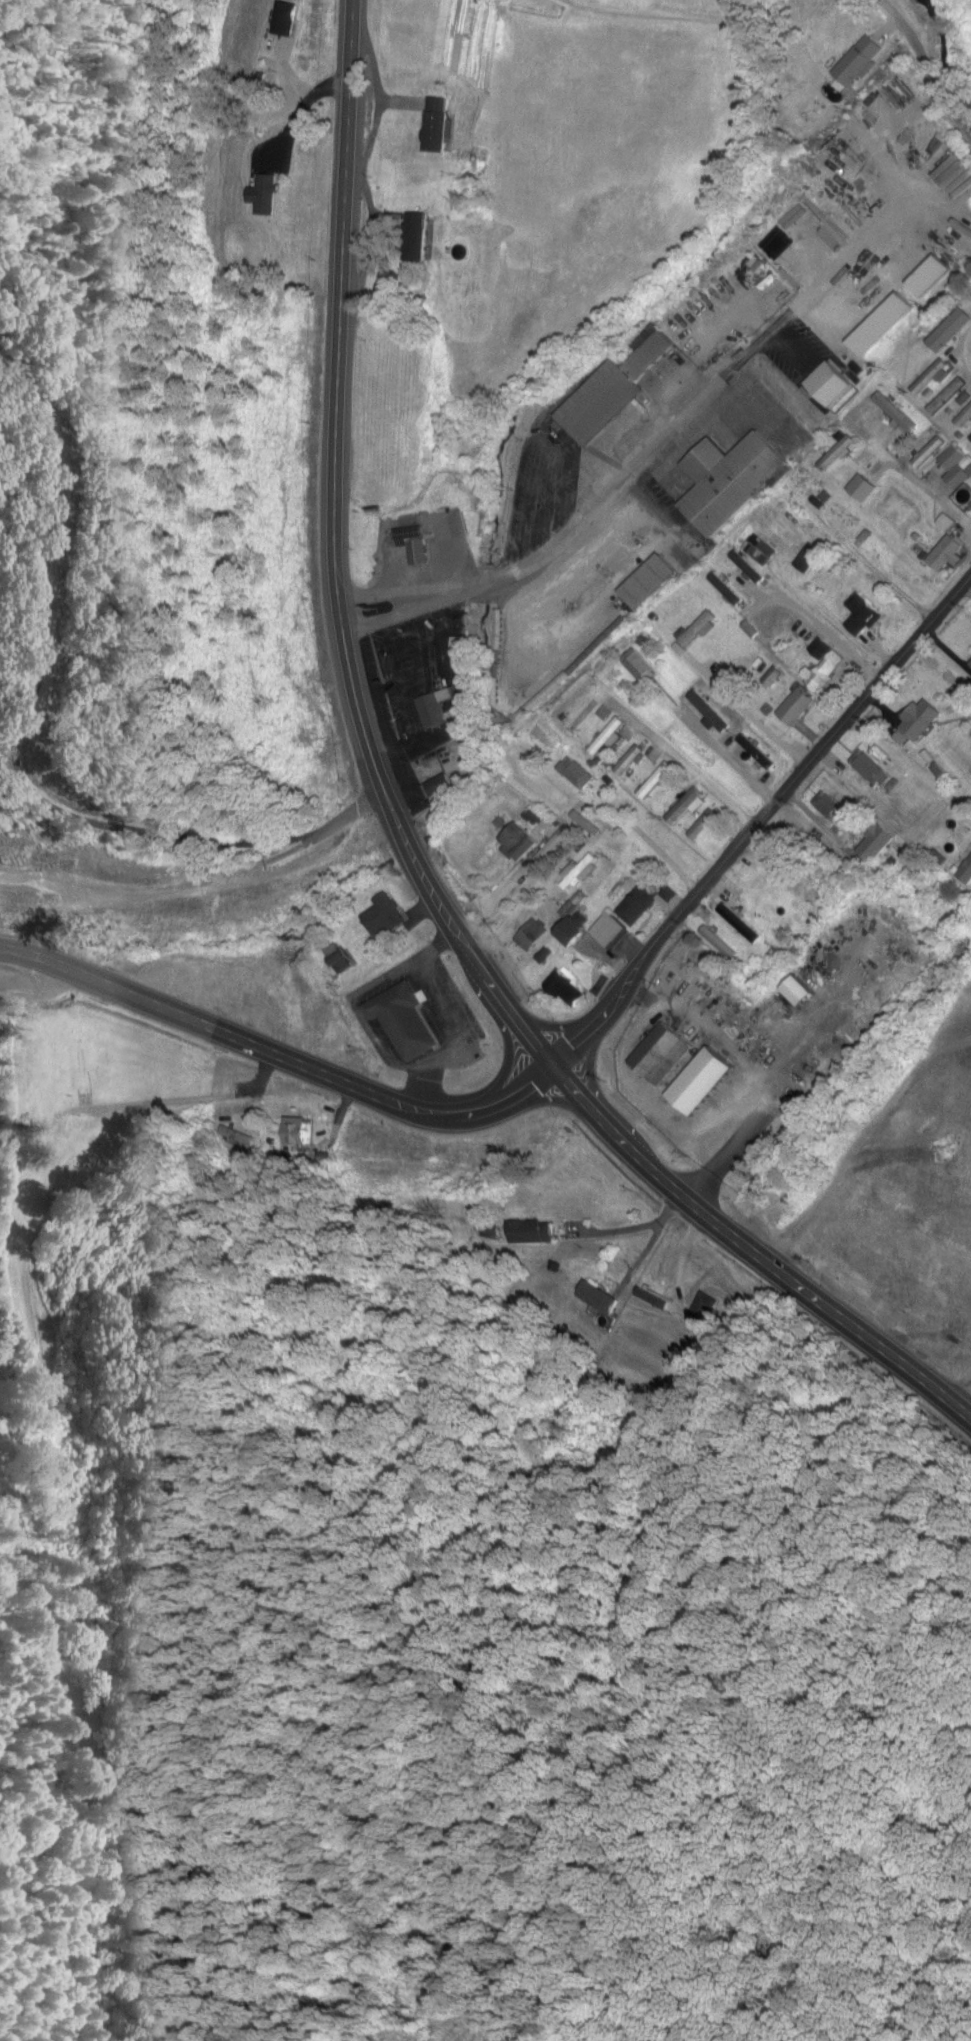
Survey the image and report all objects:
building: (859, 61)
road: (926, 69)
building: (438, 128)
building: (847, 186)
building: (897, 233)
building: (796, 246)
building: (950, 330)
road: (954, 336)
building: (930, 377)
building: (612, 393)
building: (947, 396)
building: (895, 412)
building: (964, 417)
building: (969, 442)
road: (933, 451)
building: (930, 452)
building: (955, 468)
building: (730, 480)
building: (866, 491)
road: (943, 506)
building: (418, 547)
building: (873, 549)
building: (760, 550)
building: (945, 554)
building: (749, 568)
building: (647, 582)
building: (728, 589)
building: (863, 616)
building: (697, 630)
road: (831, 634)
building: (781, 639)
building: (970, 664)
building: (639, 667)
building: (773, 678)
building: (797, 708)
building: (434, 709)
building: (710, 712)
building: (920, 719)
building: (607, 739)
road: (681, 752)
building: (757, 753)
building: (887, 754)
road: (17, 760)
building: (628, 761)
building: (870, 769)
building: (576, 774)
building: (655, 781)
building: (438, 785)
building: (684, 807)
building: (830, 807)
road: (761, 820)
building: (585, 823)
road: (401, 825)
building: (703, 825)
building: (520, 842)
building: (876, 844)
building: (554, 845)
building: (347, 847)
building: (966, 873)
building: (579, 874)
building: (638, 904)
building: (257, 913)
building: (385, 917)
building: (741, 924)
building: (608, 931)
building: (572, 932)
building: (532, 936)
building: (719, 944)
building: (668, 979)
building: (404, 1021)
road: (270, 1045)
building: (661, 1055)
building: (294, 1132)
building: (452, 1135)
building: (236, 1136)
building: (385, 1146)
building: (530, 1146)
building: (530, 1232)
building: (701, 1313)

